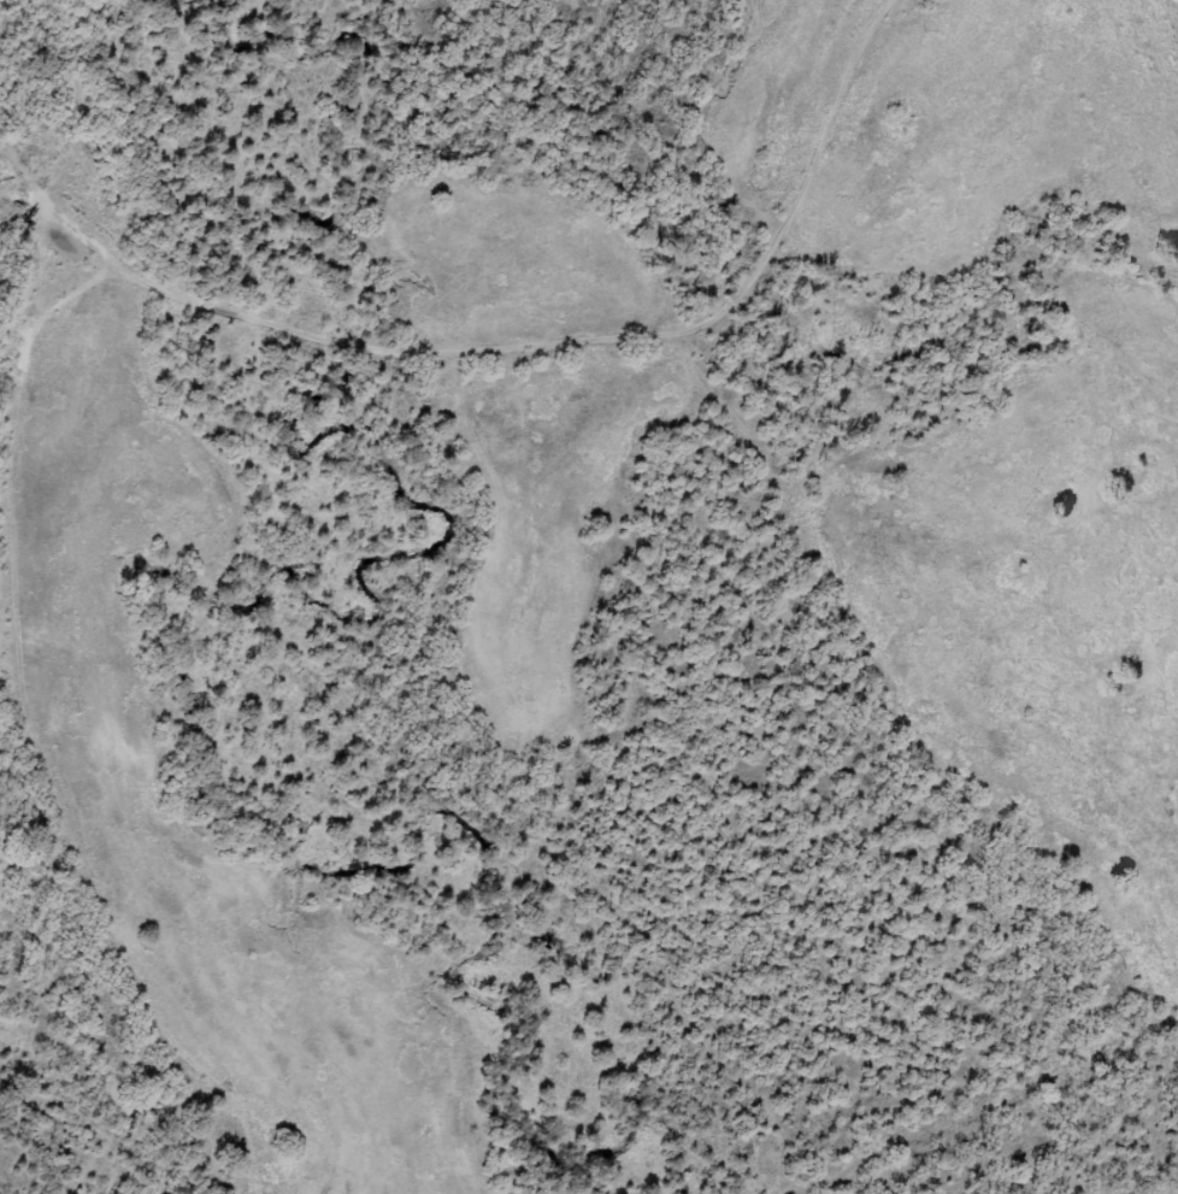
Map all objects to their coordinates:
road: (765, 198)

